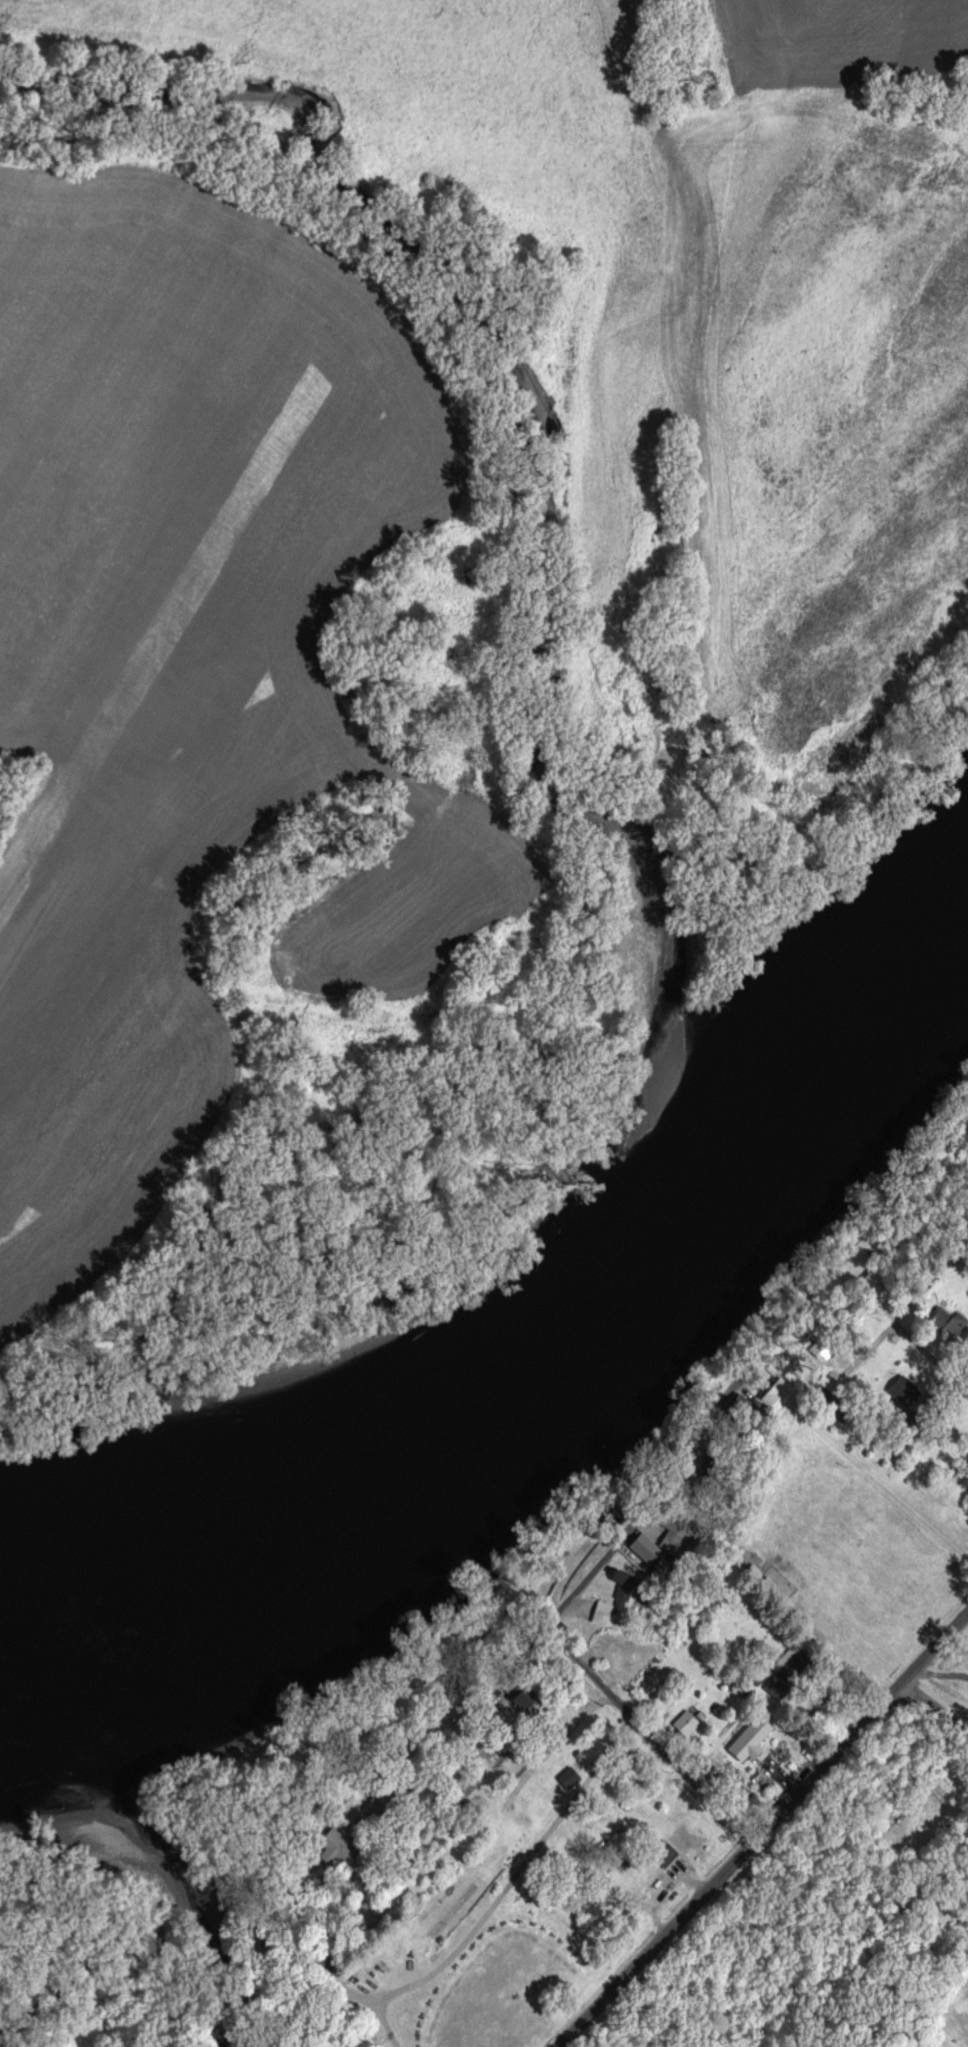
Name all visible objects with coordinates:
river: (504, 1306)
building: (948, 1324)
road: (939, 1368)
road: (761, 1375)
building: (777, 1399)
building: (742, 1406)
building: (675, 1535)
building: (646, 1550)
building: (625, 1591)
building: (603, 1615)
building: (525, 1701)
road: (935, 1712)
building: (687, 1726)
road: (646, 1738)
building: (751, 1742)
building: (569, 1780)
road: (506, 1798)
road: (754, 1831)
building: (337, 1850)
building: (665, 1856)

